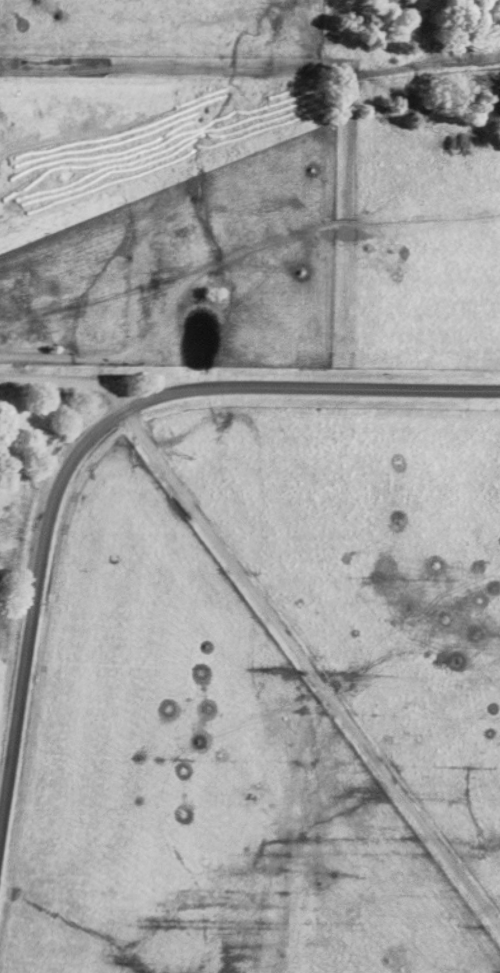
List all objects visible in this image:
road: (69, 378)
road: (88, 440)
crop: (250, 486)

